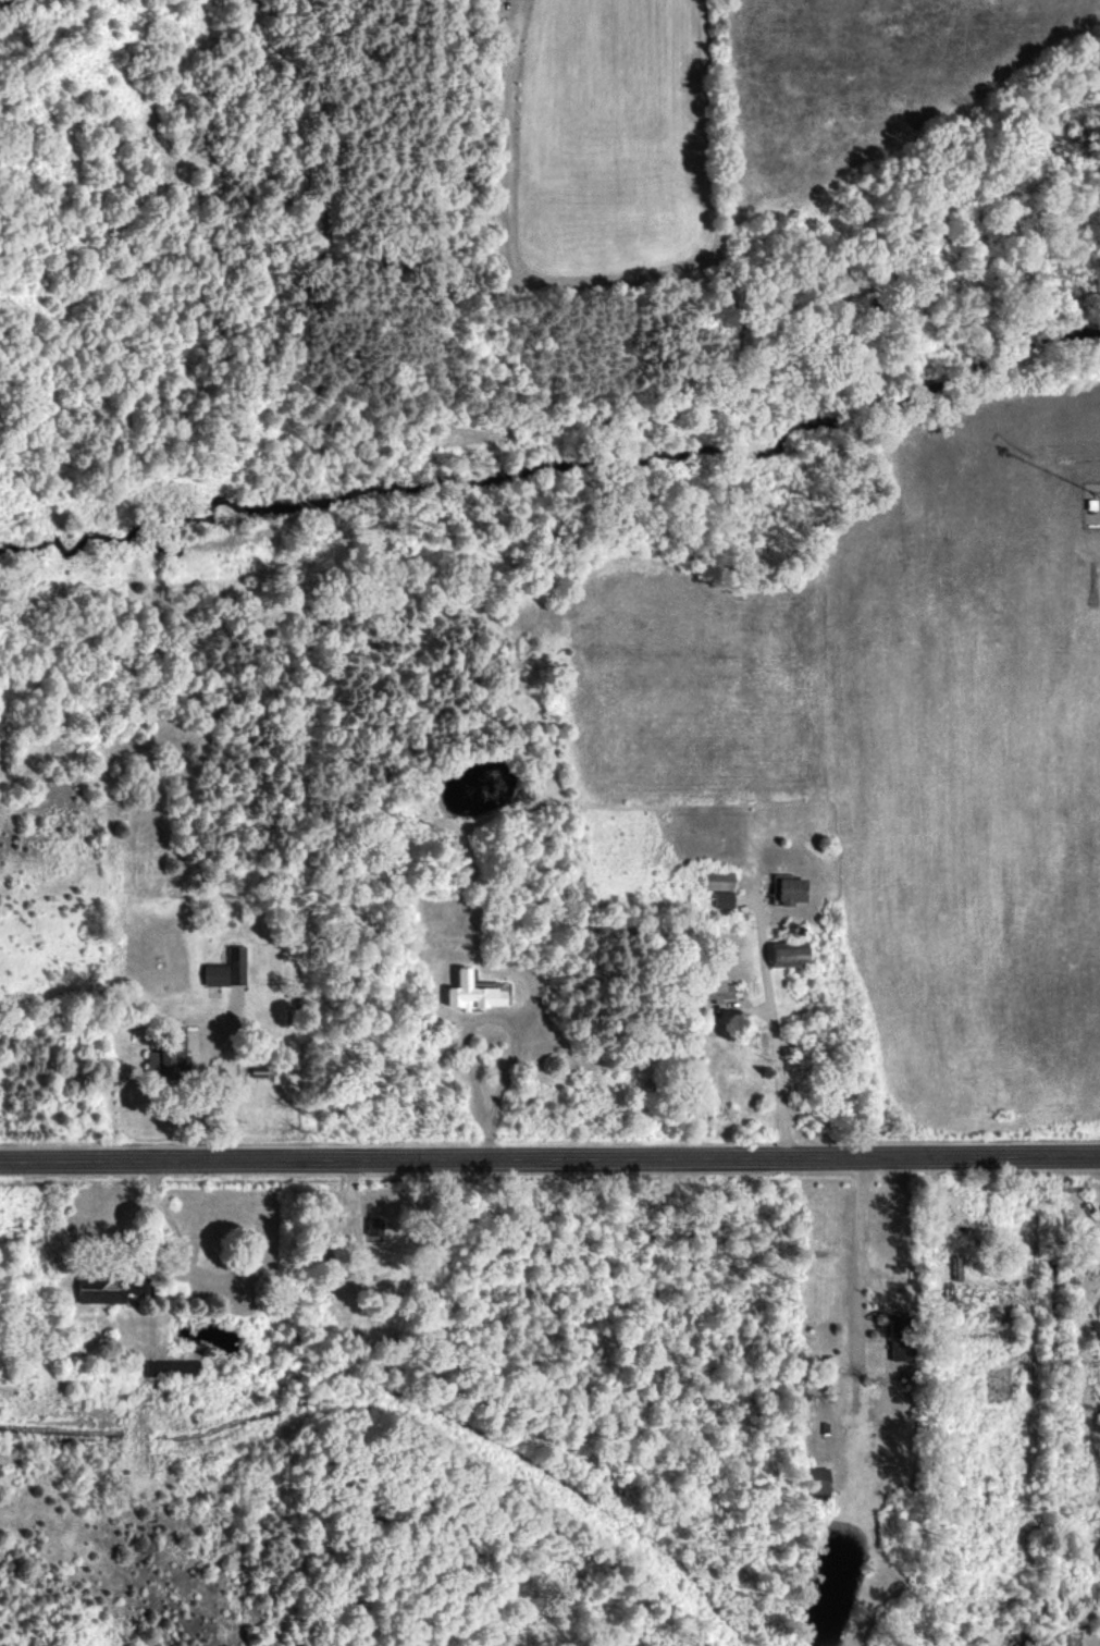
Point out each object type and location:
building: (401, 809)
building: (718, 886)
building: (787, 954)
building: (225, 969)
building: (714, 988)
building: (470, 993)
road: (468, 1016)
road: (773, 1030)
building: (165, 1055)
road: (549, 1159)
building: (371, 1226)
road: (868, 1231)
building: (109, 1289)
building: (902, 1348)
building: (170, 1367)
building: (828, 1377)
building: (816, 1479)
road: (1093, 1632)

